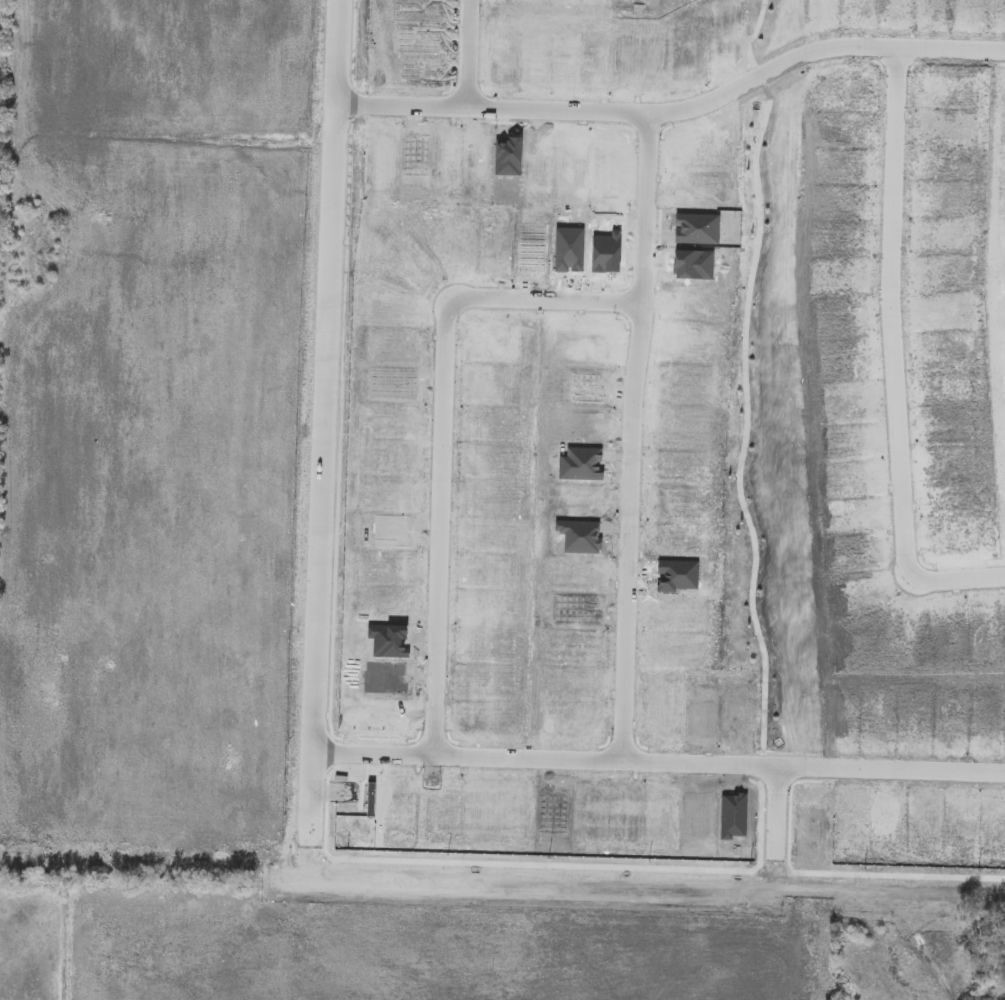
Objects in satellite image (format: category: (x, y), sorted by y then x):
building: (637, 49)
road: (465, 53)
building: (694, 76)
road: (675, 111)
road: (889, 315)
building: (408, 348)
road: (321, 415)
road: (440, 436)
road: (629, 439)
building: (386, 530)
road: (958, 582)
road: (657, 767)
road: (775, 830)

